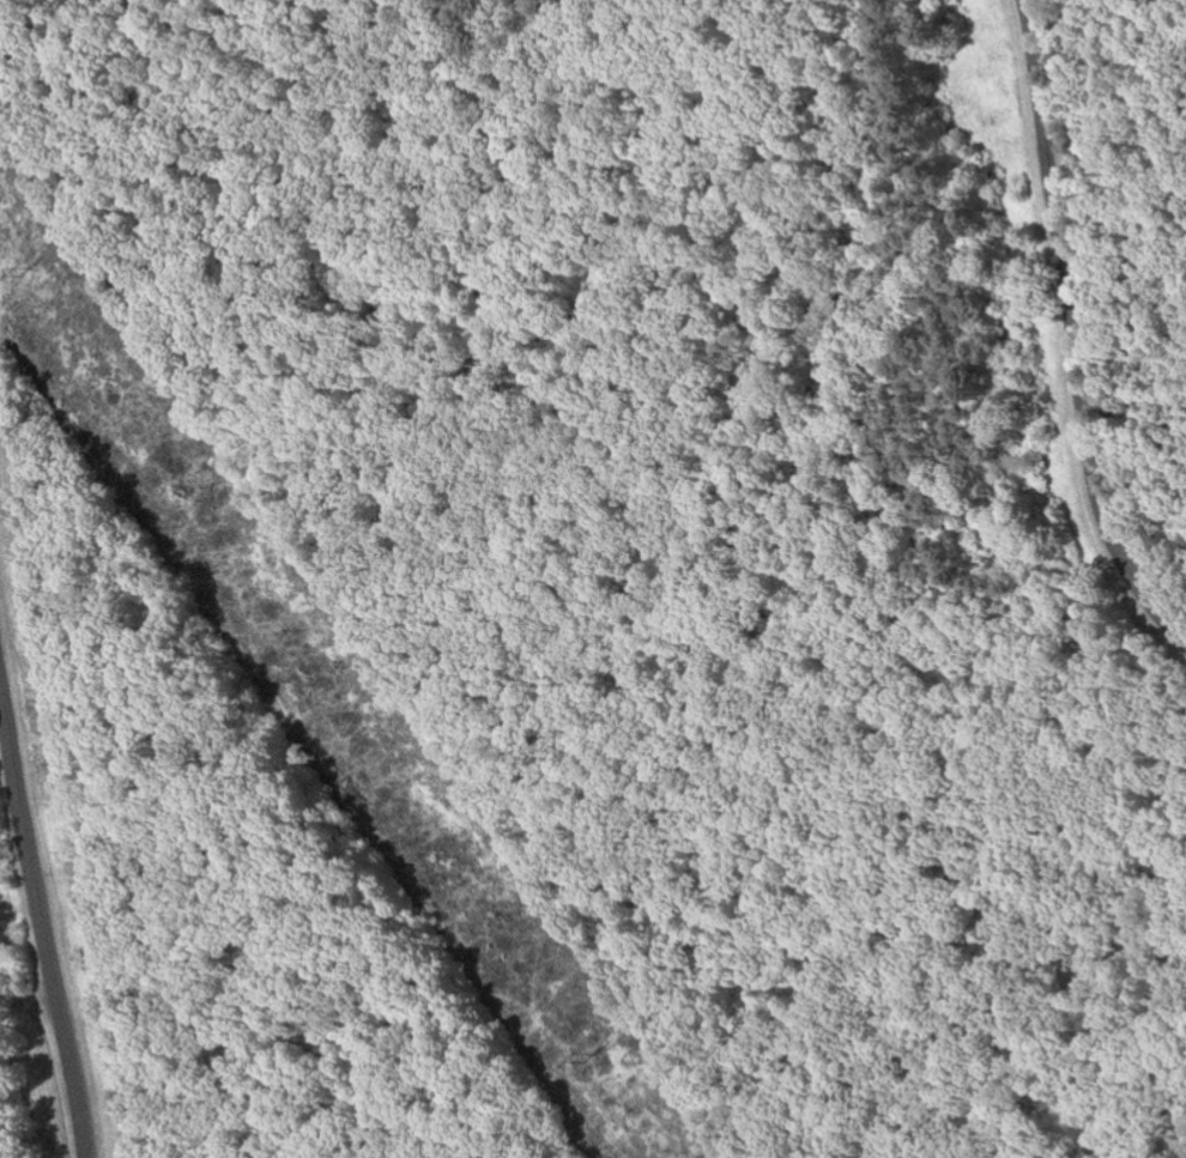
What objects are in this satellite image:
power tower: (31, 277)
road: (1072, 332)
road: (42, 904)
road: (958, 1041)

